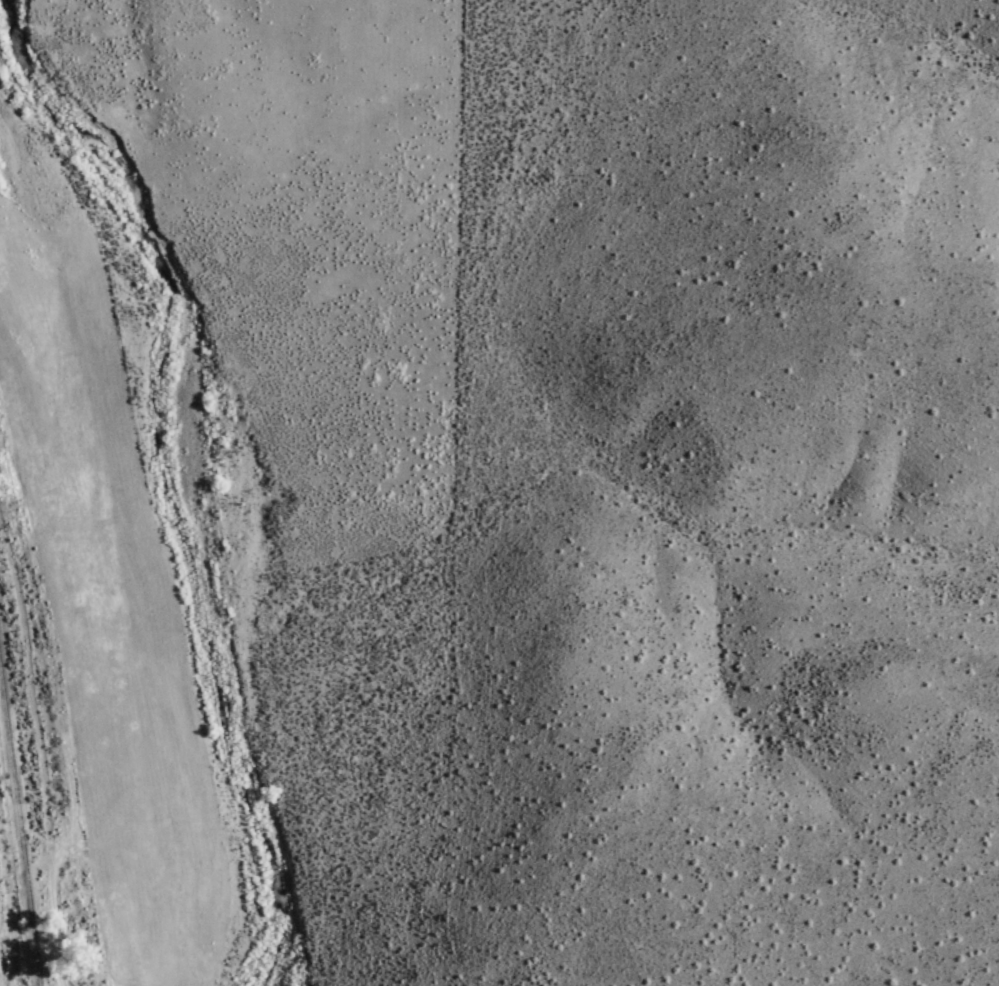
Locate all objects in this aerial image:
crop: (31, 801)
railway: (20, 831)

